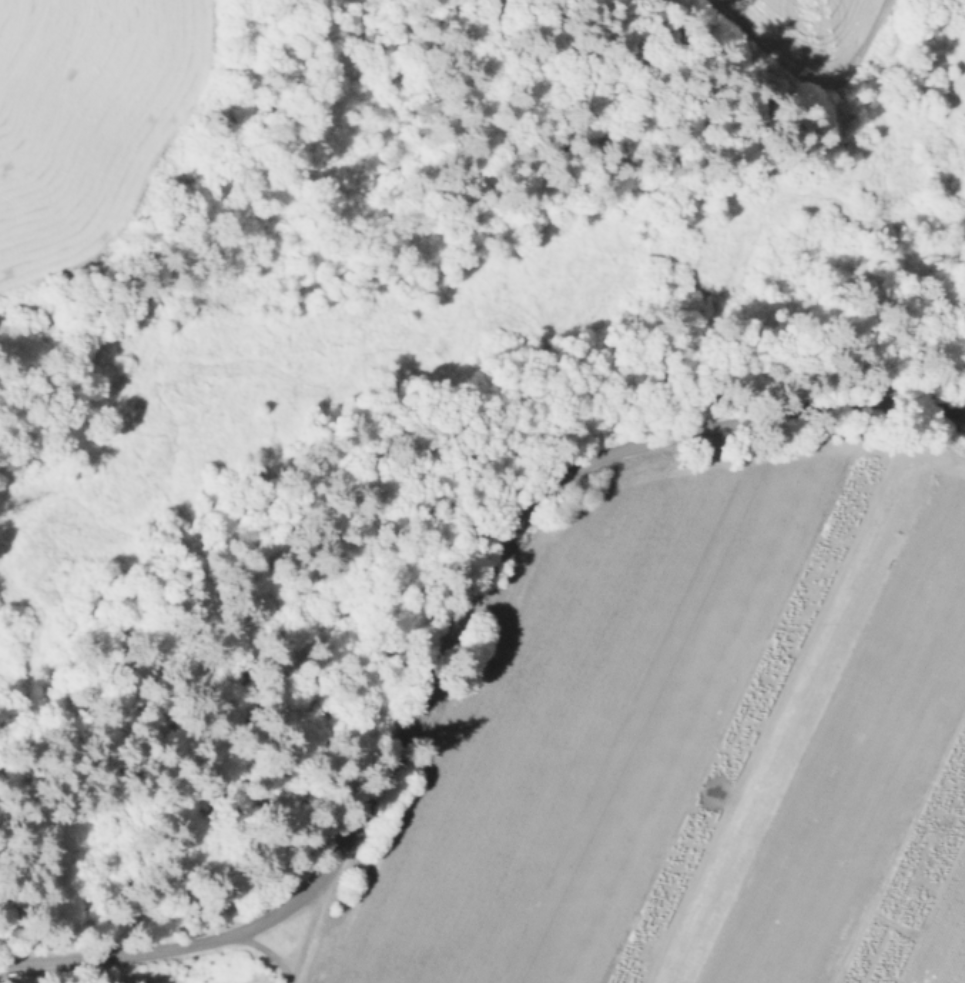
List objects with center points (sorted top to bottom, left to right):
crop: (824, 28)
crop: (82, 109)
road: (446, 629)
crop: (689, 753)
road: (310, 927)
road: (268, 953)

